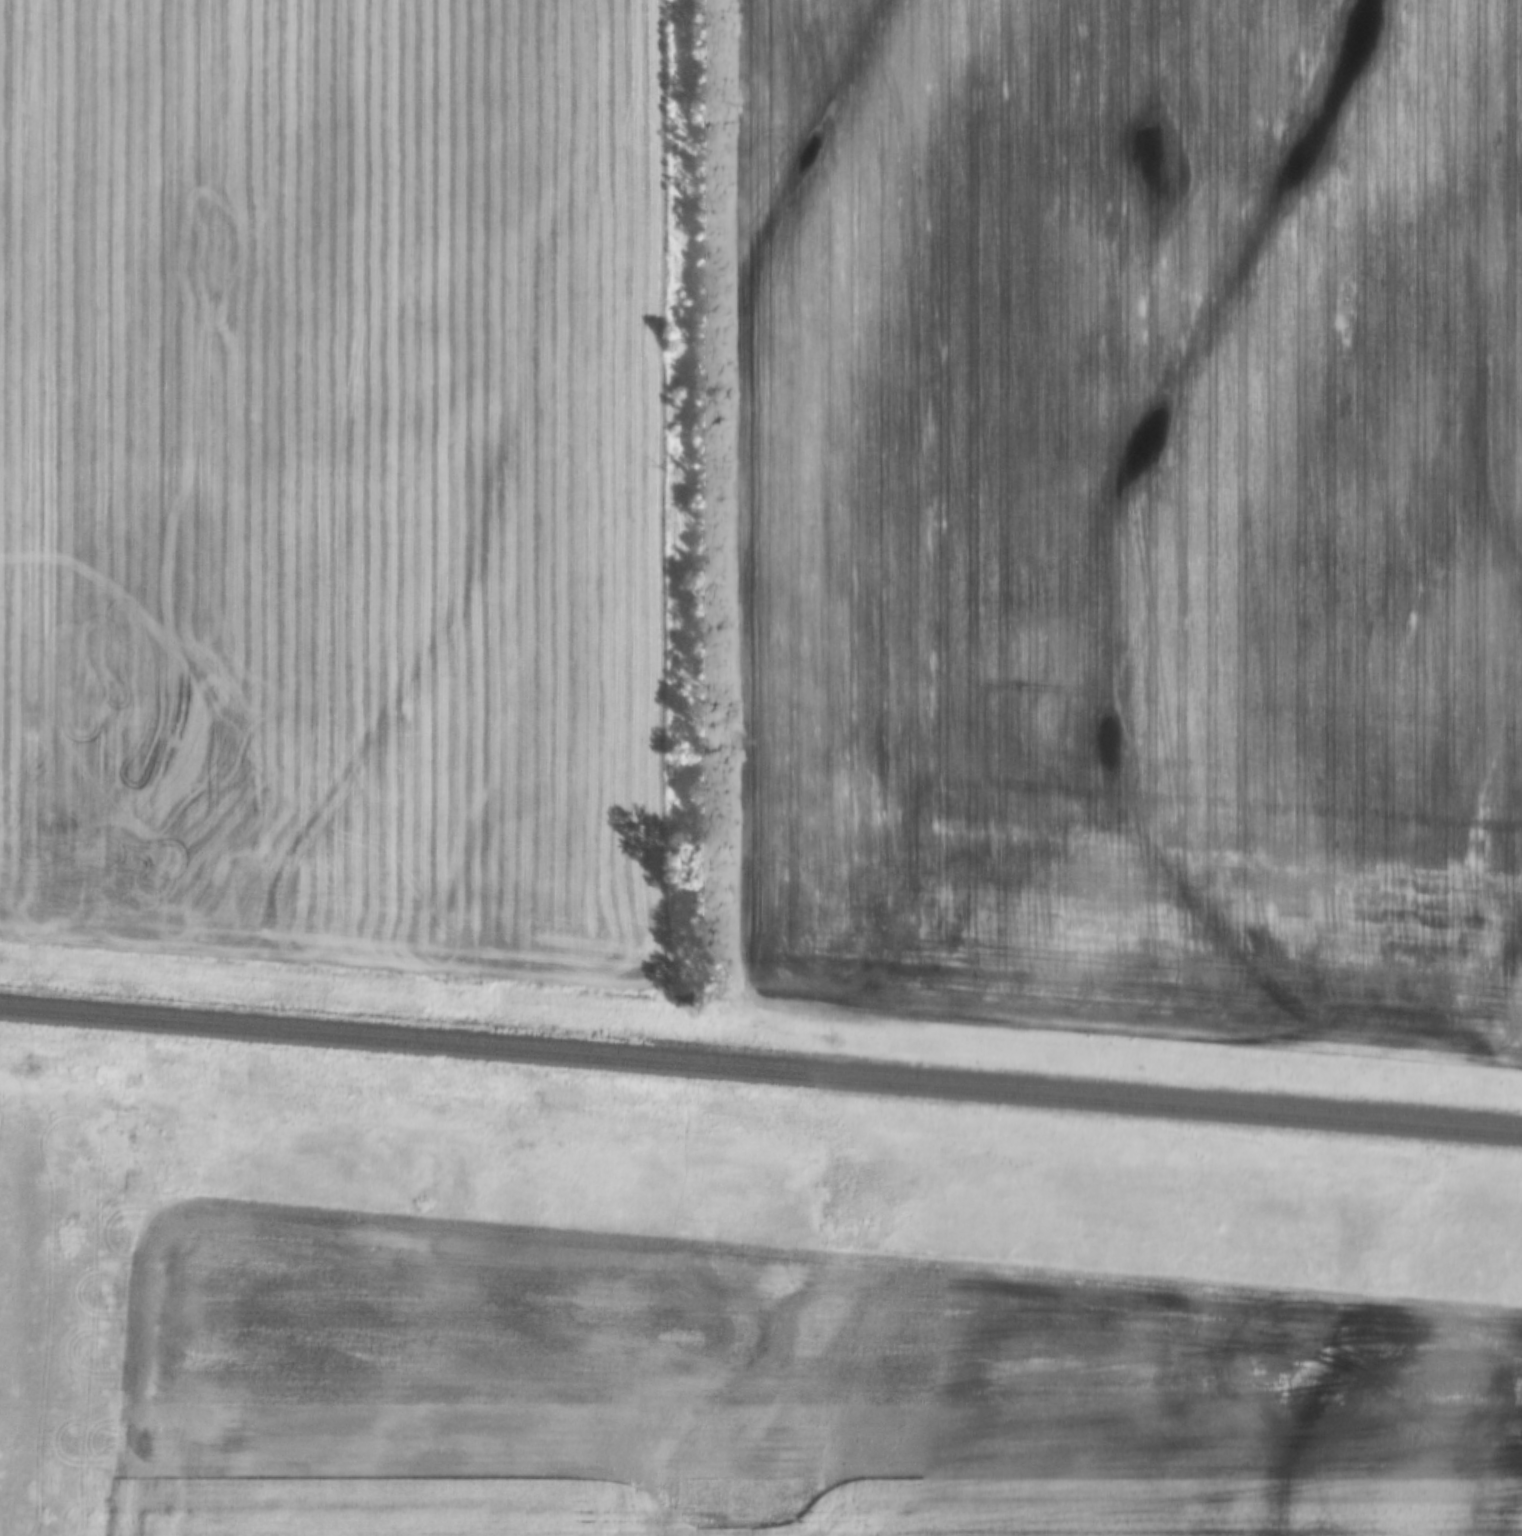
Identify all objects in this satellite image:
railway: (761, 1061)
railway: (761, 1071)

